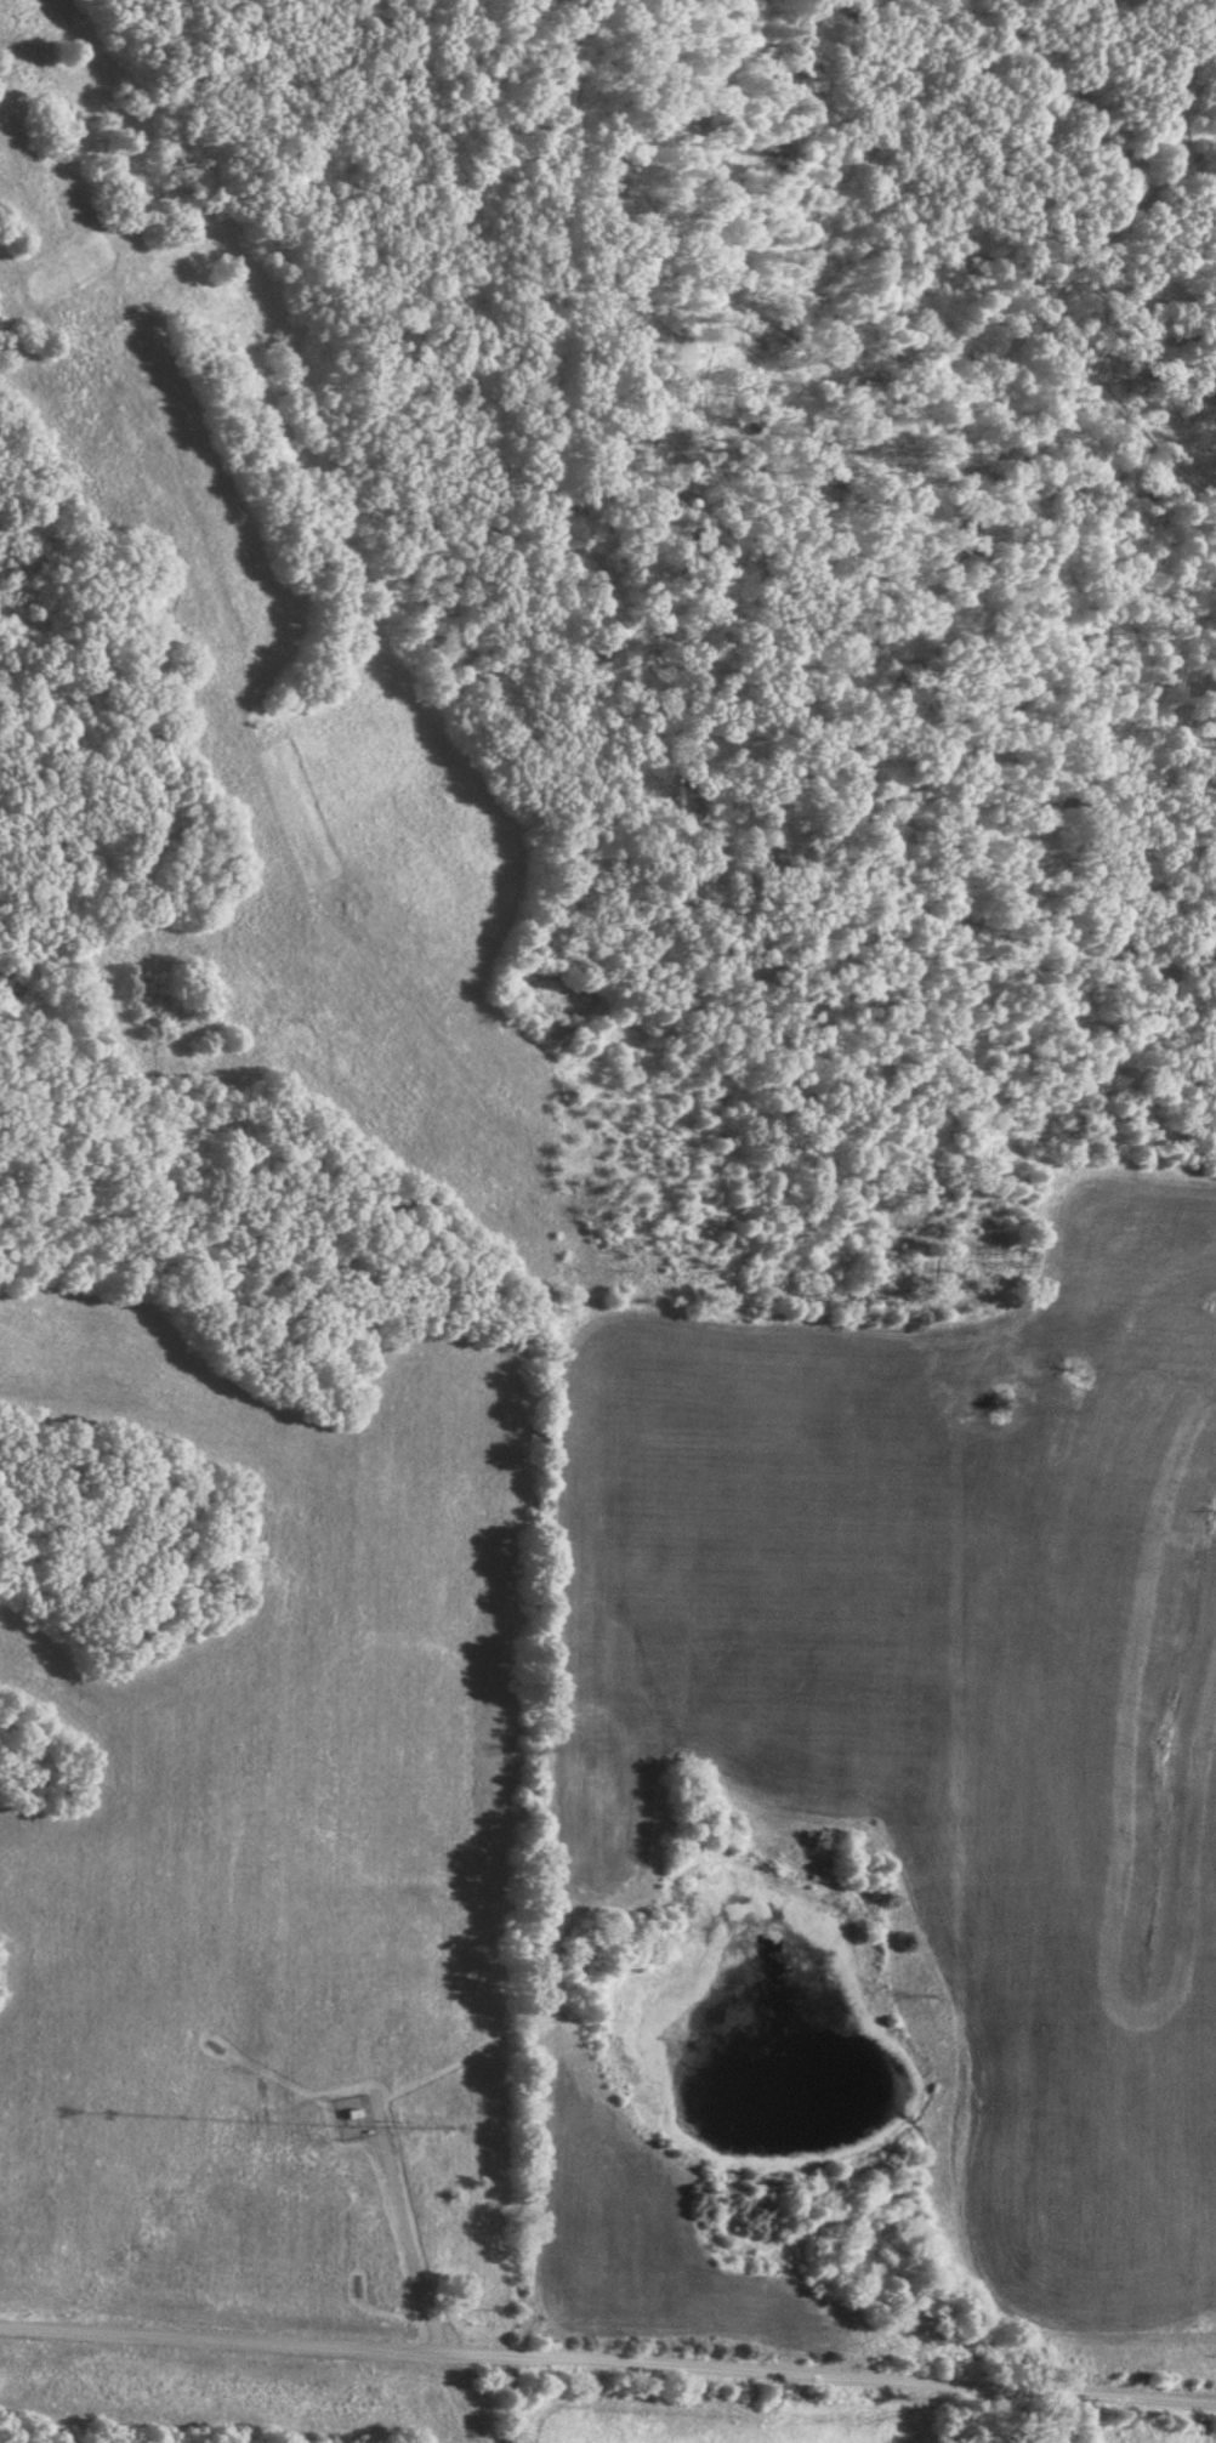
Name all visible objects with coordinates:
road: (987, 2291)
road: (608, 2354)
road: (505, 2396)

